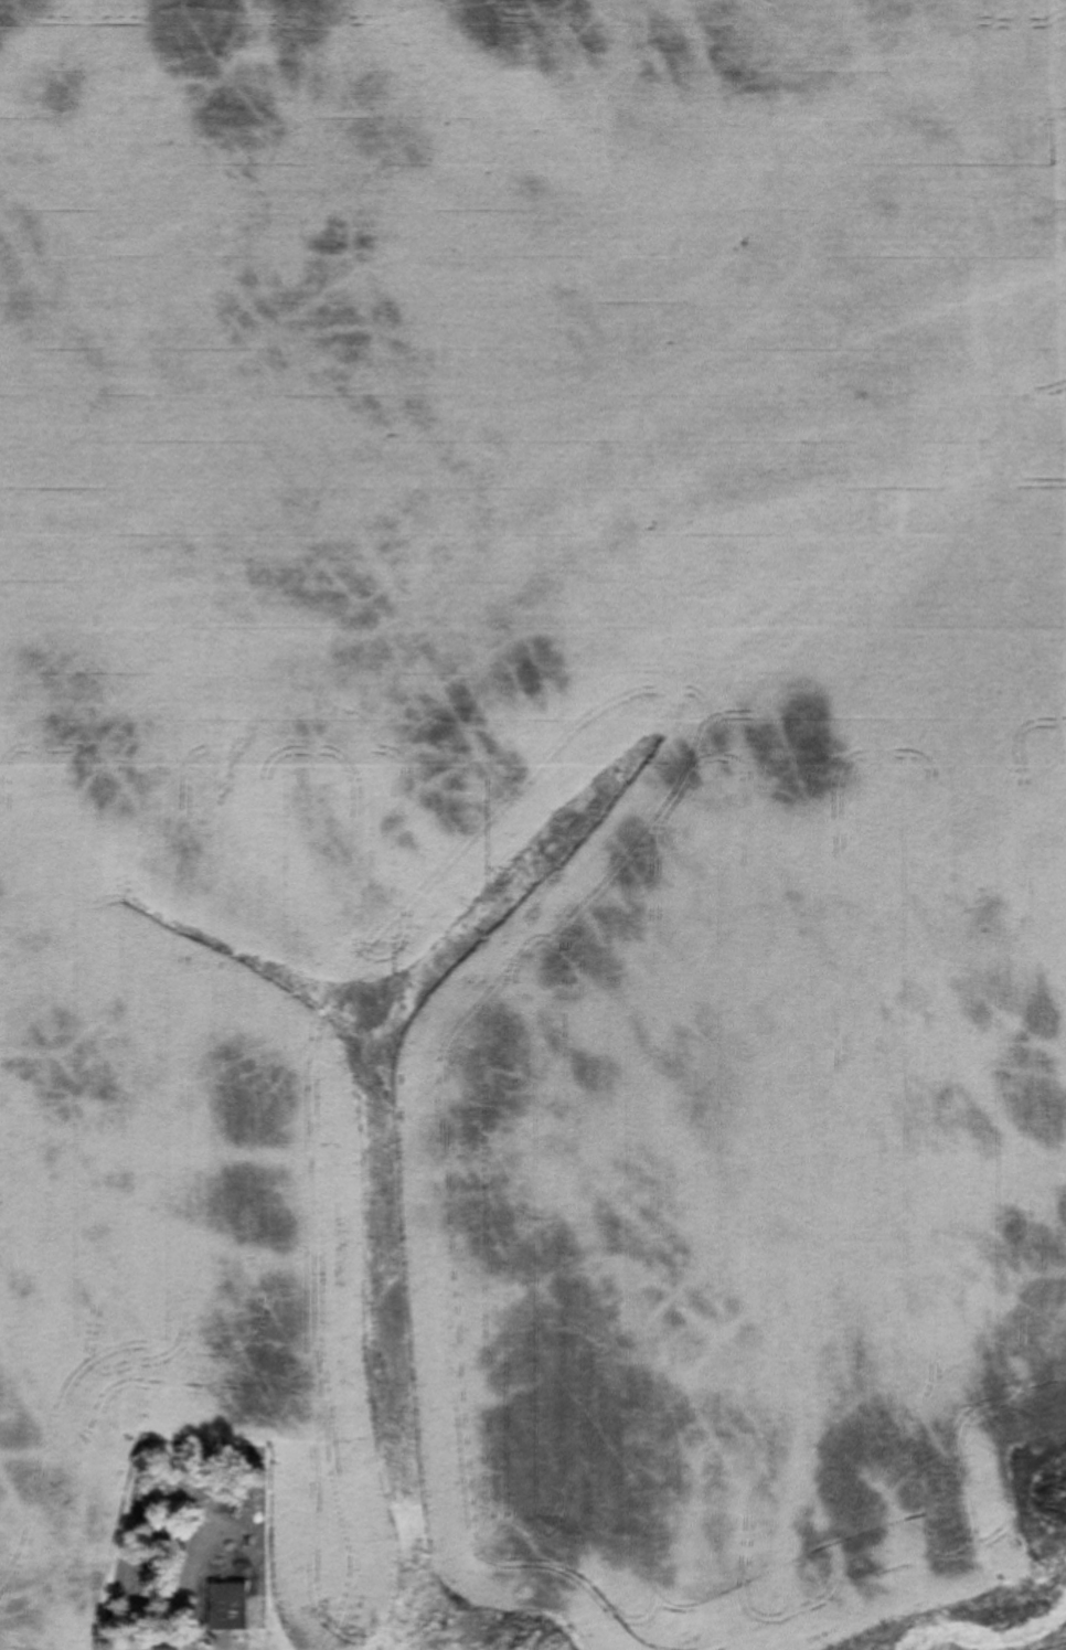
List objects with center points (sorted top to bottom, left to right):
building: (225, 1606)
building: (166, 1644)

